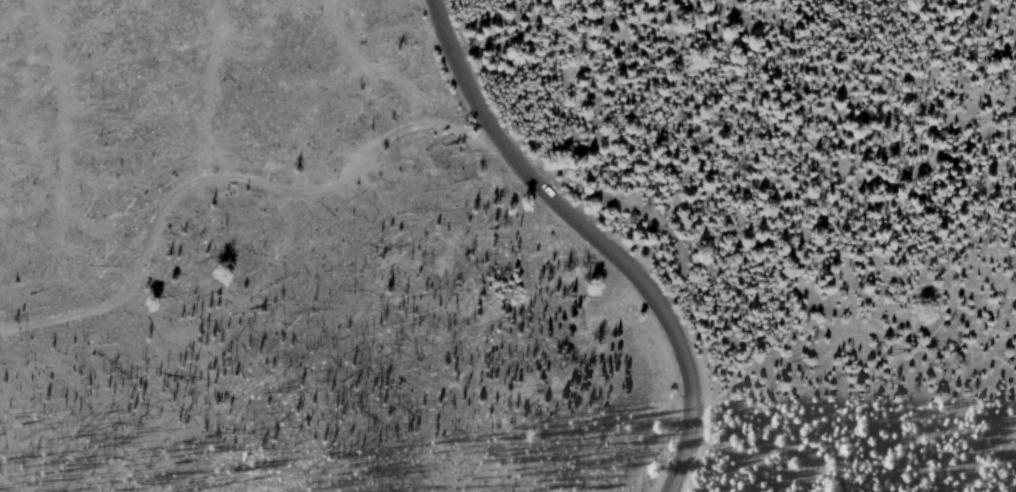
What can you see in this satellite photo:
road: (231, 178)
road: (593, 237)

